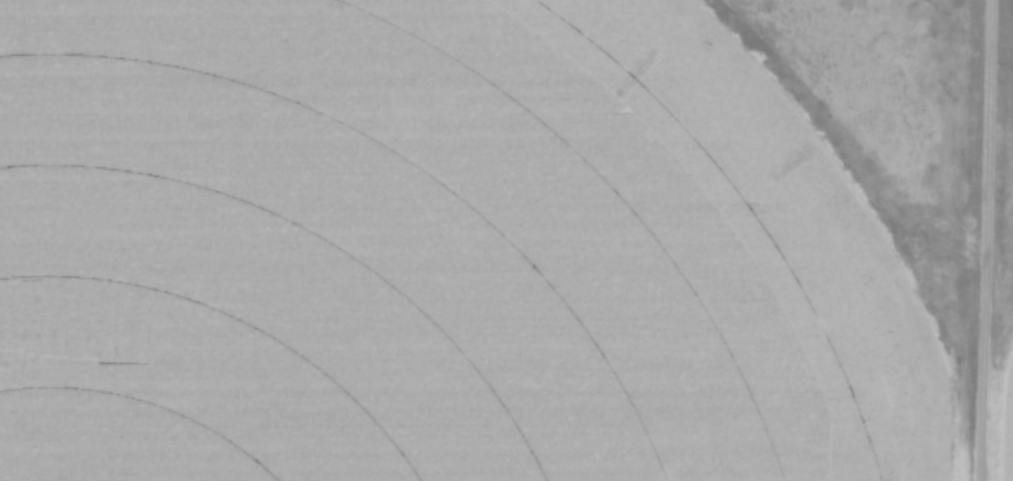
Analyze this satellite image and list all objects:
road: (988, 240)

